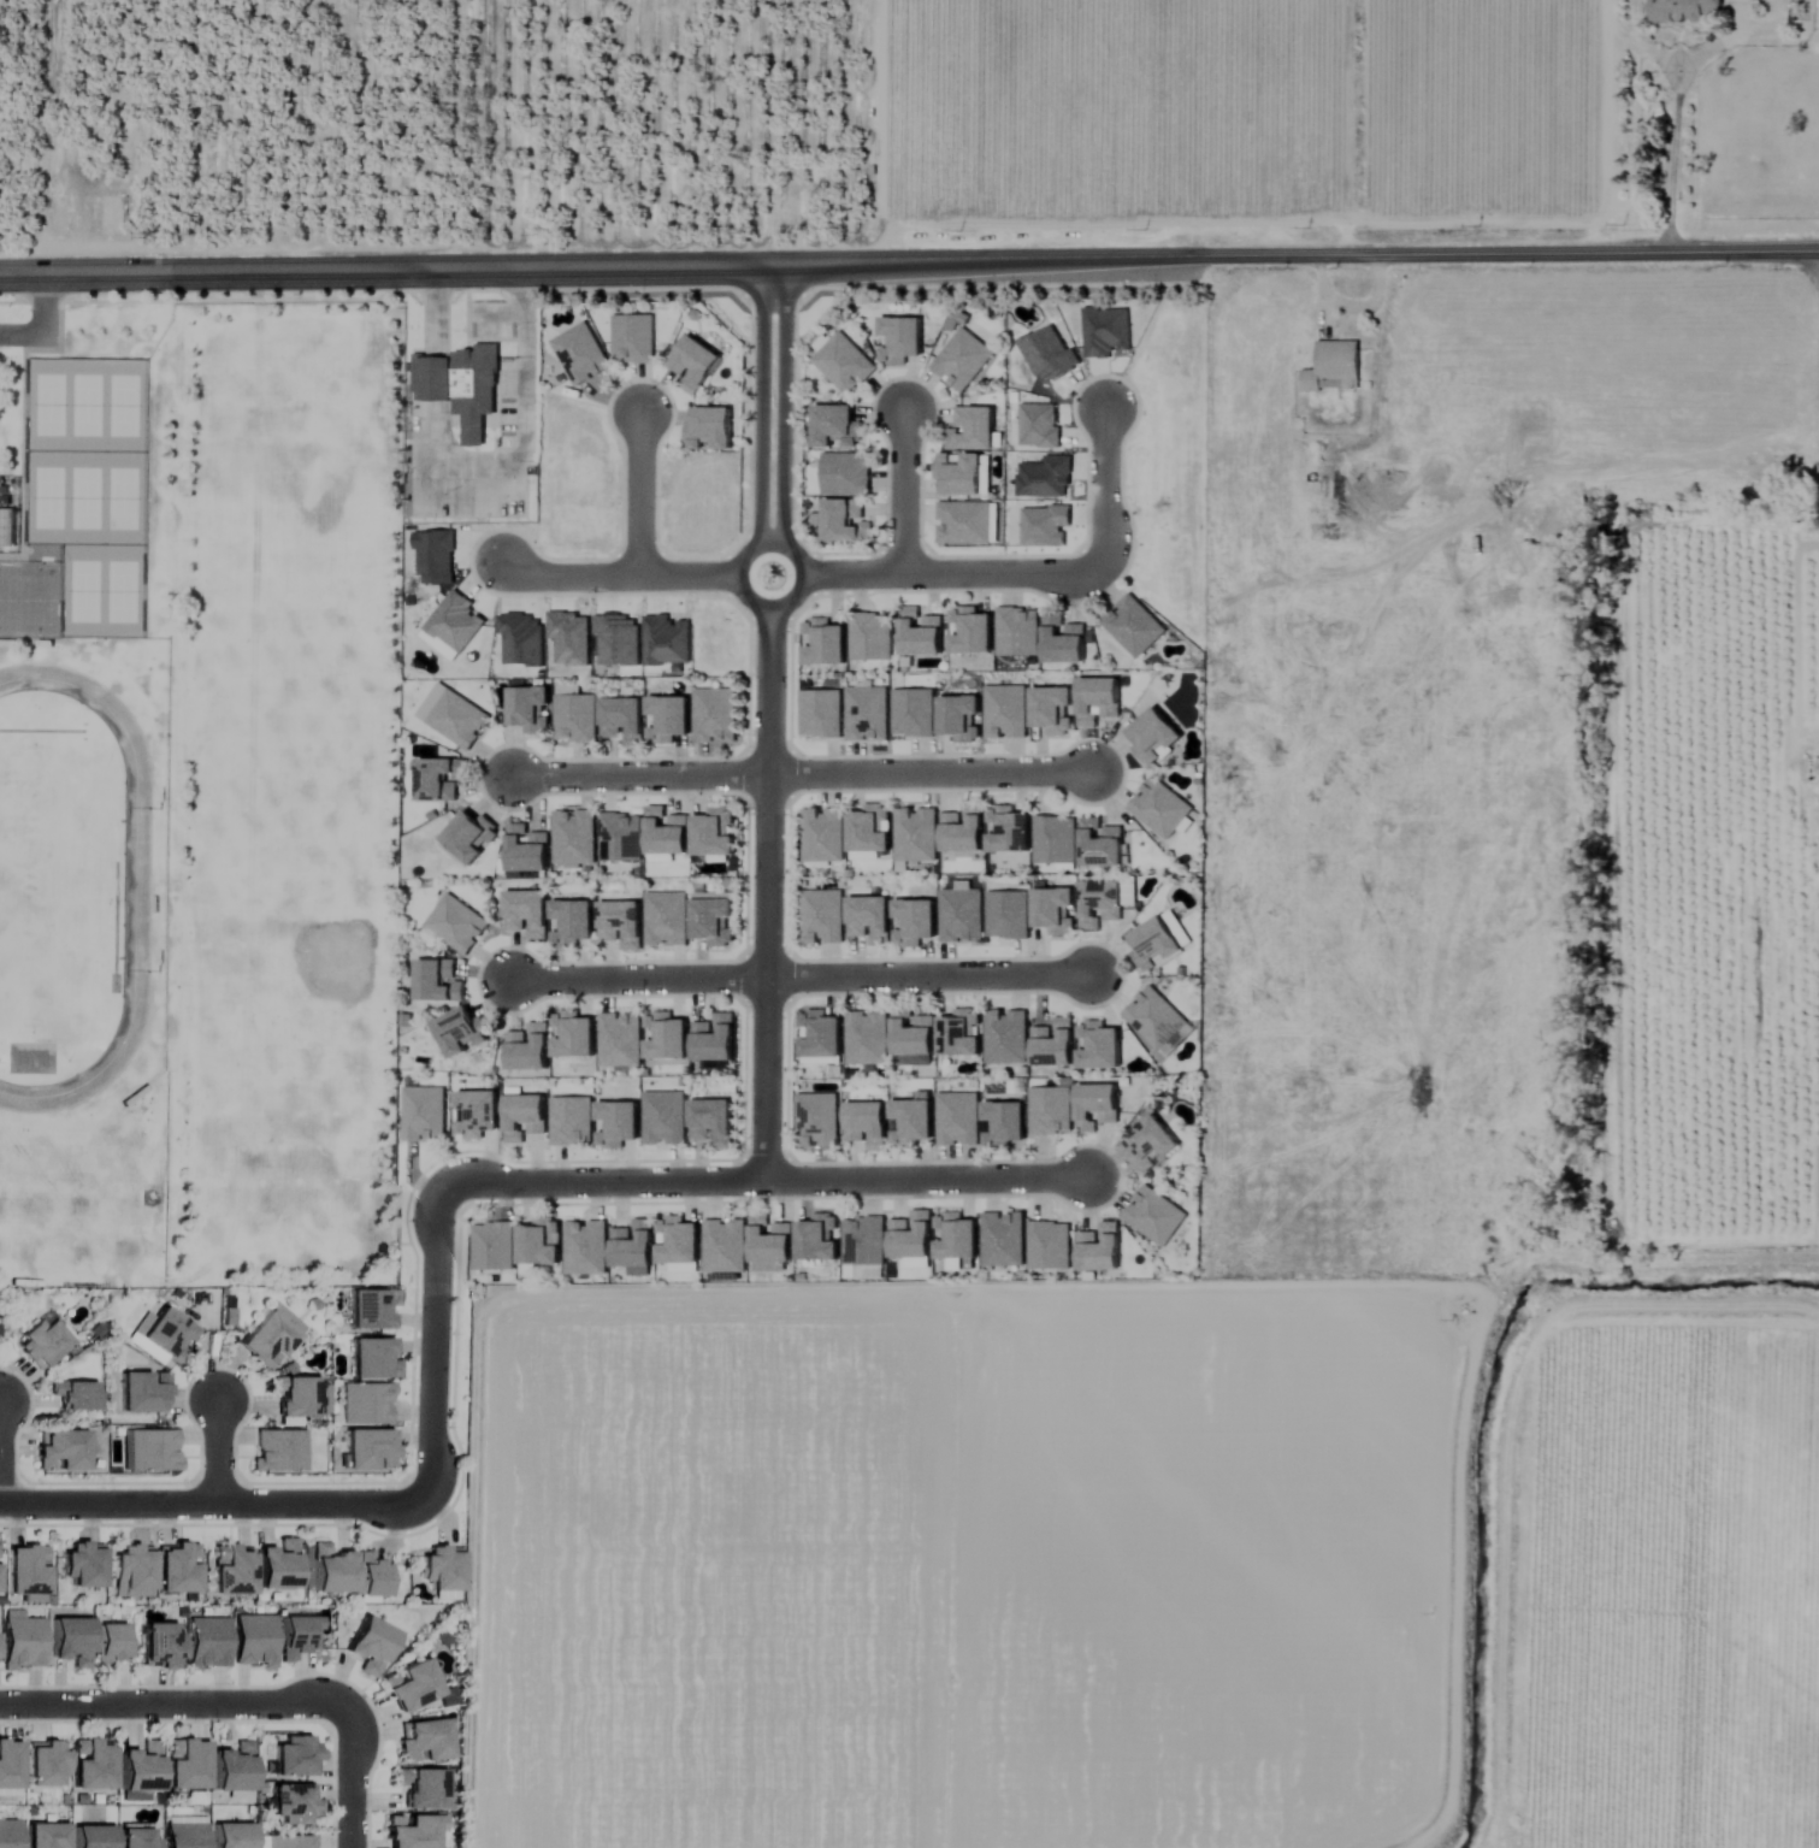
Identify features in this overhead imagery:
building: (1685, 10)
road: (1675, 166)
road: (909, 262)
road: (435, 300)
road: (43, 319)
building: (633, 338)
building: (903, 340)
road: (525, 352)
building: (581, 355)
building: (963, 360)
building: (696, 364)
building: (845, 364)
building: (1334, 367)
building: (461, 386)
park: (46, 401)
park: (85, 401)
park: (124, 401)
building: (837, 426)
building: (973, 429)
building: (711, 430)
building: (846, 474)
building: (961, 474)
road: (1104, 488)
park: (46, 494)
park: (84, 494)
park: (124, 494)
road: (902, 494)
road: (639, 496)
building: (1335, 497)
building: (846, 522)
building: (963, 524)
building: (6, 527)
road: (934, 574)
road: (632, 575)
park: (82, 586)
park: (123, 586)
park: (7, 594)
park: (37, 595)
building: (1133, 626)
building: (971, 632)
building: (1018, 632)
building: (922, 633)
building: (872, 637)
building: (1064, 642)
building: (826, 643)
building: (1099, 699)
building: (531, 708)
building: (1053, 709)
building: (1006, 712)
building: (820, 713)
building: (913, 713)
building: (867, 714)
building: (715, 715)
building: (575, 718)
building: (961, 718)
building: (459, 719)
building: (669, 719)
building: (624, 720)
road: (769, 721)
building: (1154, 736)
road: (929, 777)
building: (439, 778)
road: (640, 779)
building: (1159, 808)
building: (872, 829)
building: (964, 829)
building: (1010, 829)
building: (667, 831)
building: (715, 832)
building: (823, 834)
building: (916, 834)
building: (472, 836)
building: (621, 836)
building: (574, 837)
building: (1055, 839)
building: (1102, 843)
building: (528, 849)
building: (1100, 903)
building: (1056, 910)
building: (528, 913)
building: (962, 915)
building: (1008, 915)
building: (822, 916)
building: (667, 917)
building: (872, 919)
building: (715, 921)
building: (917, 921)
building: (573, 922)
building: (457, 923)
building: (622, 923)
building: (1159, 941)
road: (927, 980)
building: (439, 981)
road: (638, 982)
building: (1156, 1019)
building: (463, 1032)
building: (914, 1033)
building: (822, 1034)
building: (961, 1034)
building: (574, 1035)
building: (667, 1037)
building: (1006, 1037)
building: (716, 1038)
building: (867, 1038)
building: (620, 1039)
building: (1056, 1044)
building: (1100, 1046)
building: (530, 1049)
crop: (1334, 1049)
building: (1097, 1105)
building: (1051, 1111)
building: (424, 1114)
building: (478, 1114)
building: (526, 1117)
building: (665, 1118)
building: (958, 1118)
building: (817, 1120)
building: (572, 1121)
building: (713, 1122)
building: (913, 1122)
building: (619, 1123)
building: (868, 1124)
building: (1005, 1124)
building: (1152, 1145)
road: (925, 1181)
road: (604, 1183)
building: (1154, 1216)
building: (957, 1236)
building: (820, 1238)
building: (911, 1238)
building: (1003, 1239)
building: (864, 1240)
building: (679, 1241)
building: (772, 1241)
building: (539, 1244)
building: (634, 1245)
building: (1050, 1245)
building: (725, 1246)
building: (494, 1247)
building: (586, 1247)
building: (1102, 1248)
building: (371, 1309)
building: (167, 1336)
building: (267, 1340)
road: (435, 1342)
building: (42, 1344)
building: (373, 1359)
building: (143, 1392)
building: (72, 1394)
building: (295, 1395)
building: (365, 1404)
building: (152, 1451)
building: (278, 1451)
building: (368, 1451)
building: (60, 1452)
road: (214, 1452)
road: (213, 1502)
building: (83, 1565)
building: (134, 1567)
building: (278, 1567)
building: (177, 1569)
building: (331, 1570)
building: (441, 1570)
building: (25, 1571)
building: (231, 1571)
building: (372, 1576)
building: (297, 1636)
building: (254, 1641)
building: (22, 1642)
building: (71, 1642)
building: (207, 1643)
building: (112, 1645)
building: (161, 1646)
building: (371, 1646)
building: (413, 1687)
road: (175, 1708)
building: (424, 1742)
building: (296, 1758)
building: (45, 1764)
building: (185, 1765)
building: (8, 1767)
building: (93, 1767)
building: (141, 1769)
building: (234, 1770)
road: (352, 1778)
building: (421, 1789)
building: (293, 1803)
building: (412, 1832)
building: (10, 1834)
building: (45, 1836)
building: (184, 1836)
building: (91, 1837)
building: (135, 1837)
building: (290, 1842)

